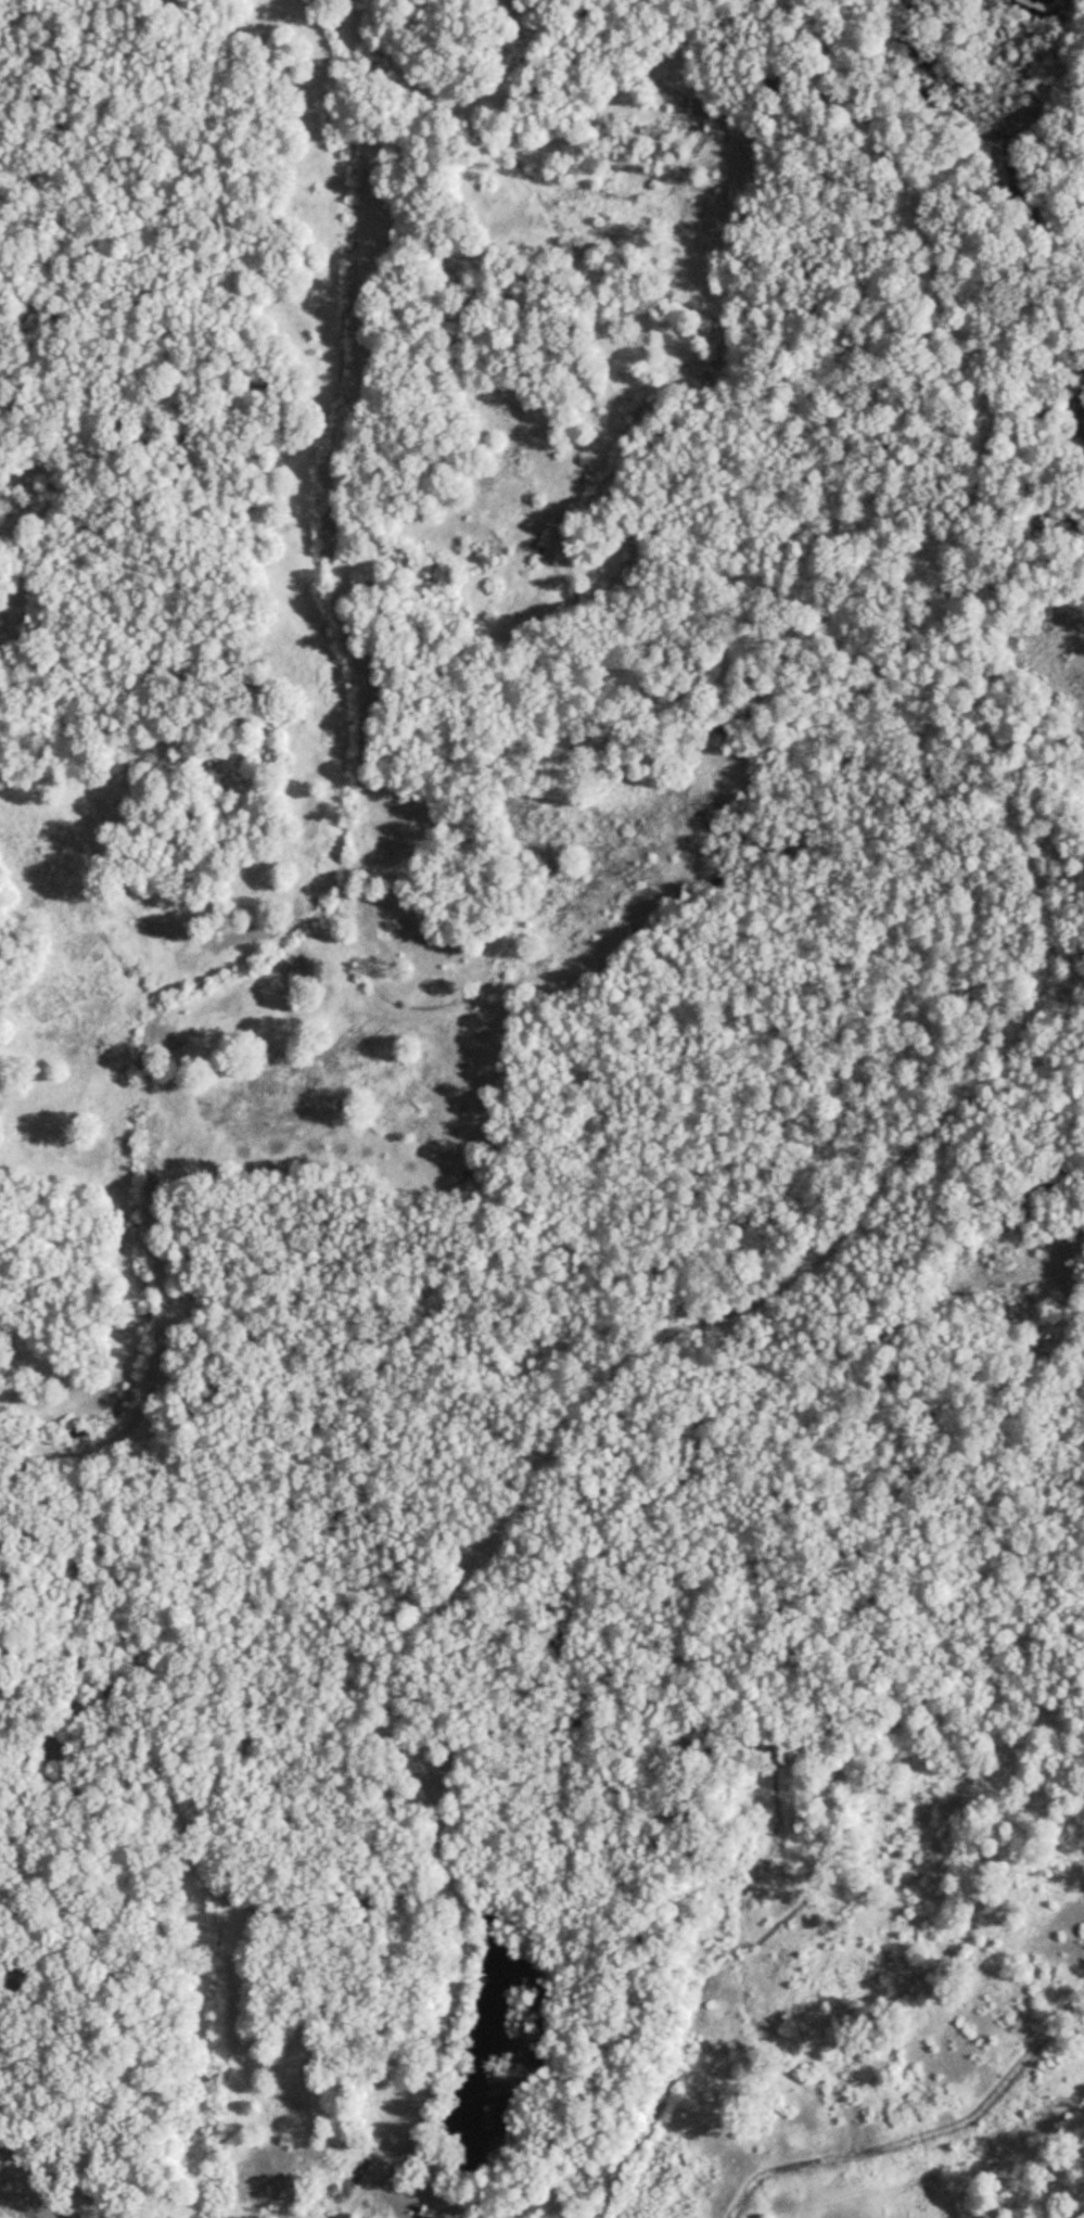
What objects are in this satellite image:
road: (890, 1174)
road: (435, 2170)
road: (61, 2183)

